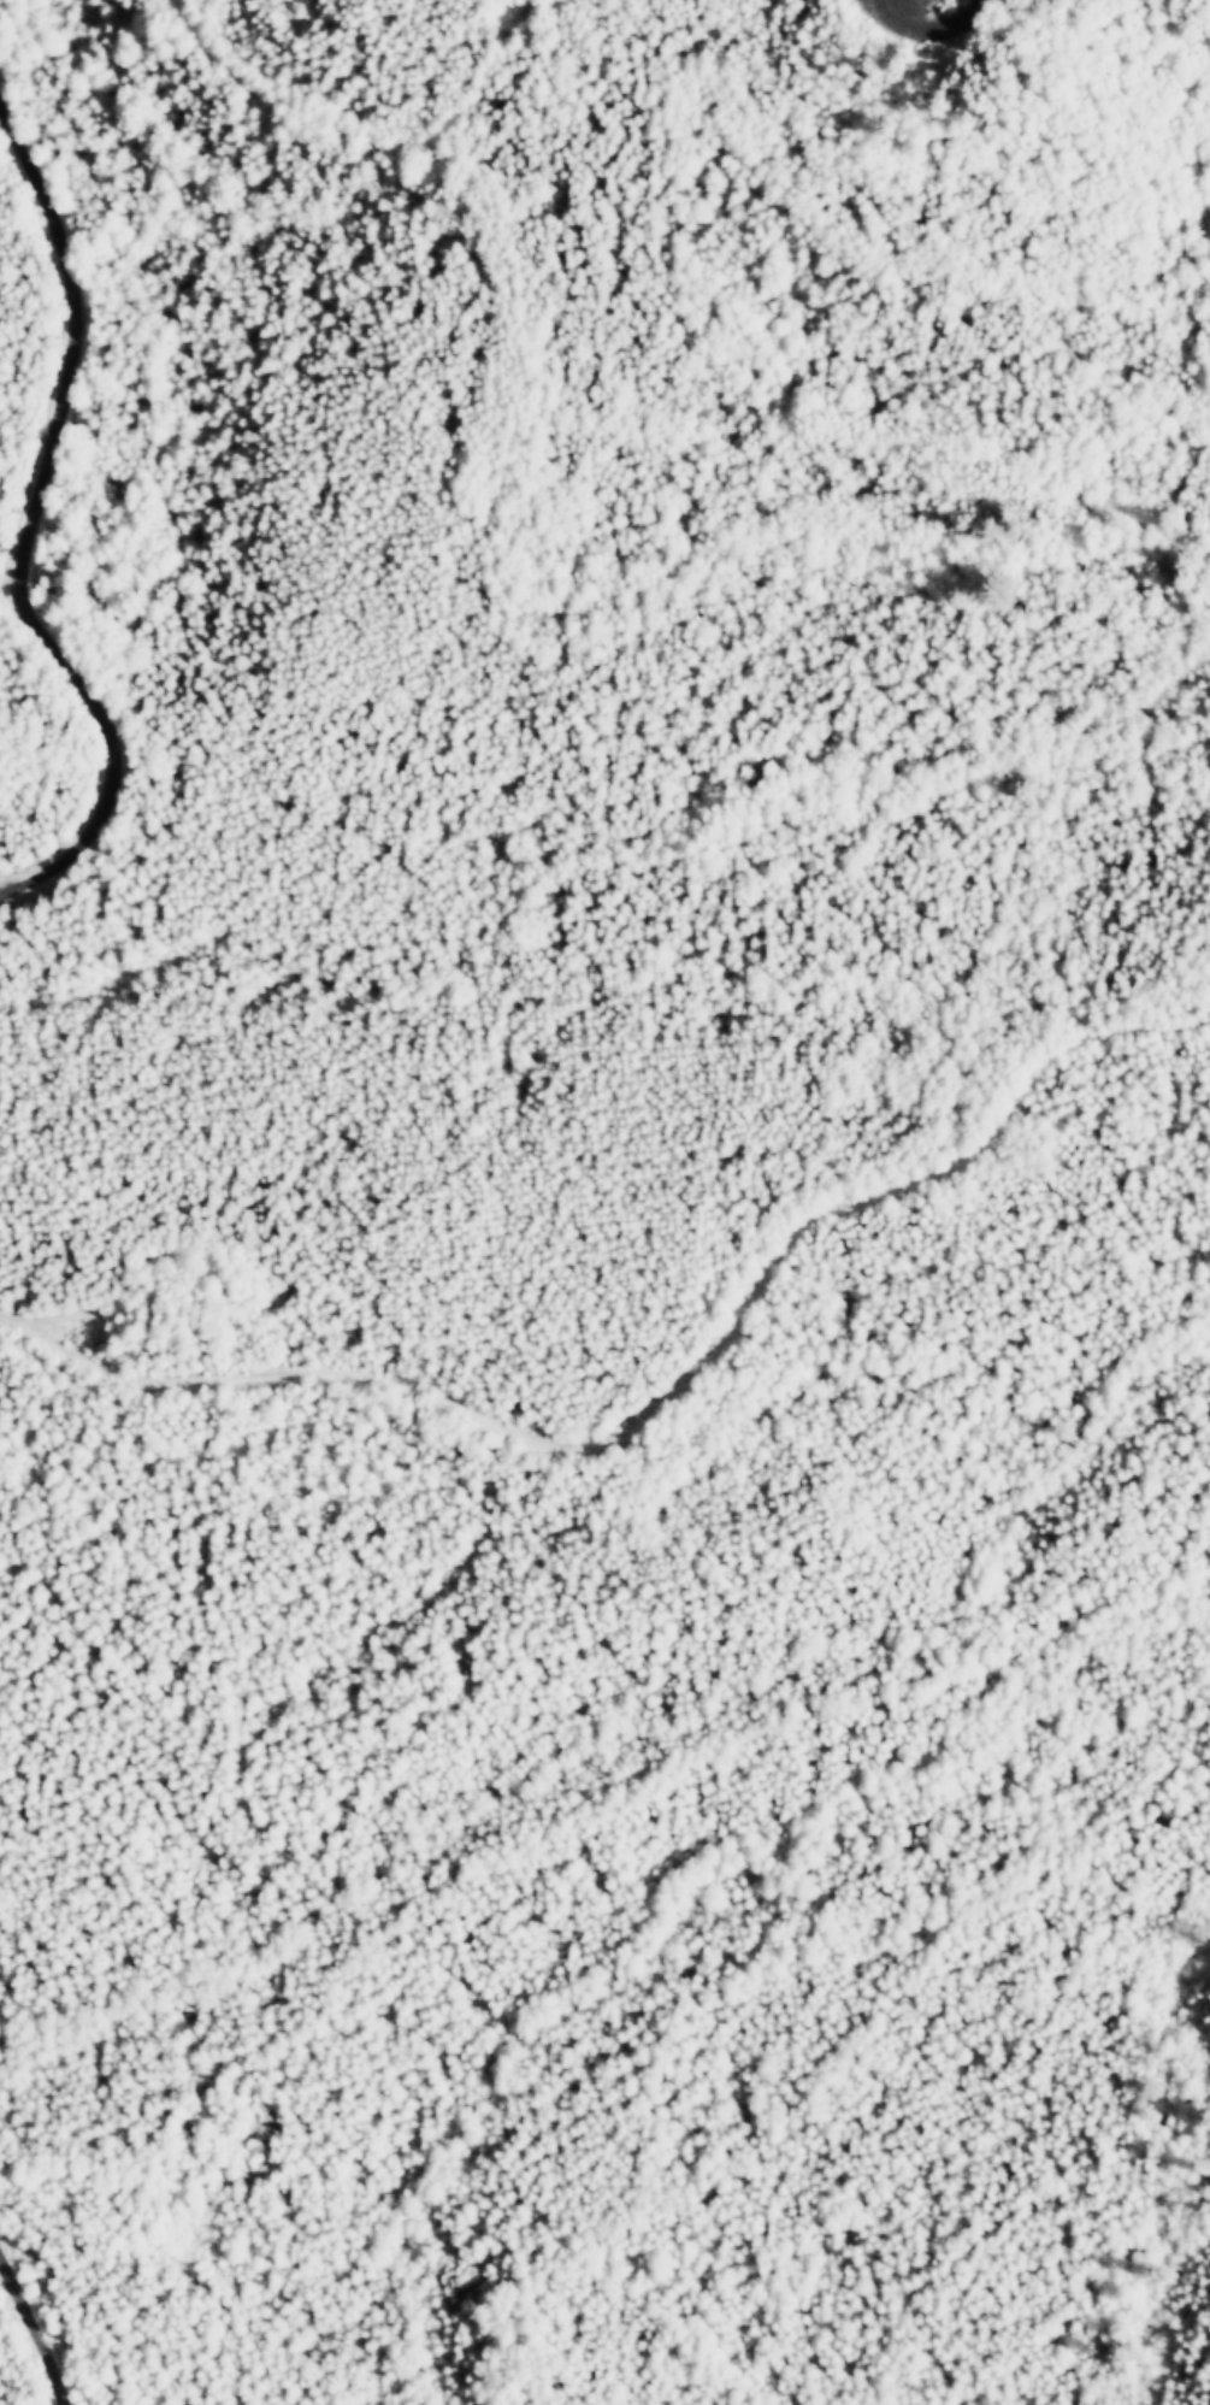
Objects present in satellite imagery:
road: (932, 28)
quarry: (787, 29)
road: (368, 131)
road: (35, 523)
road: (33, 2328)
road: (526, 2370)

